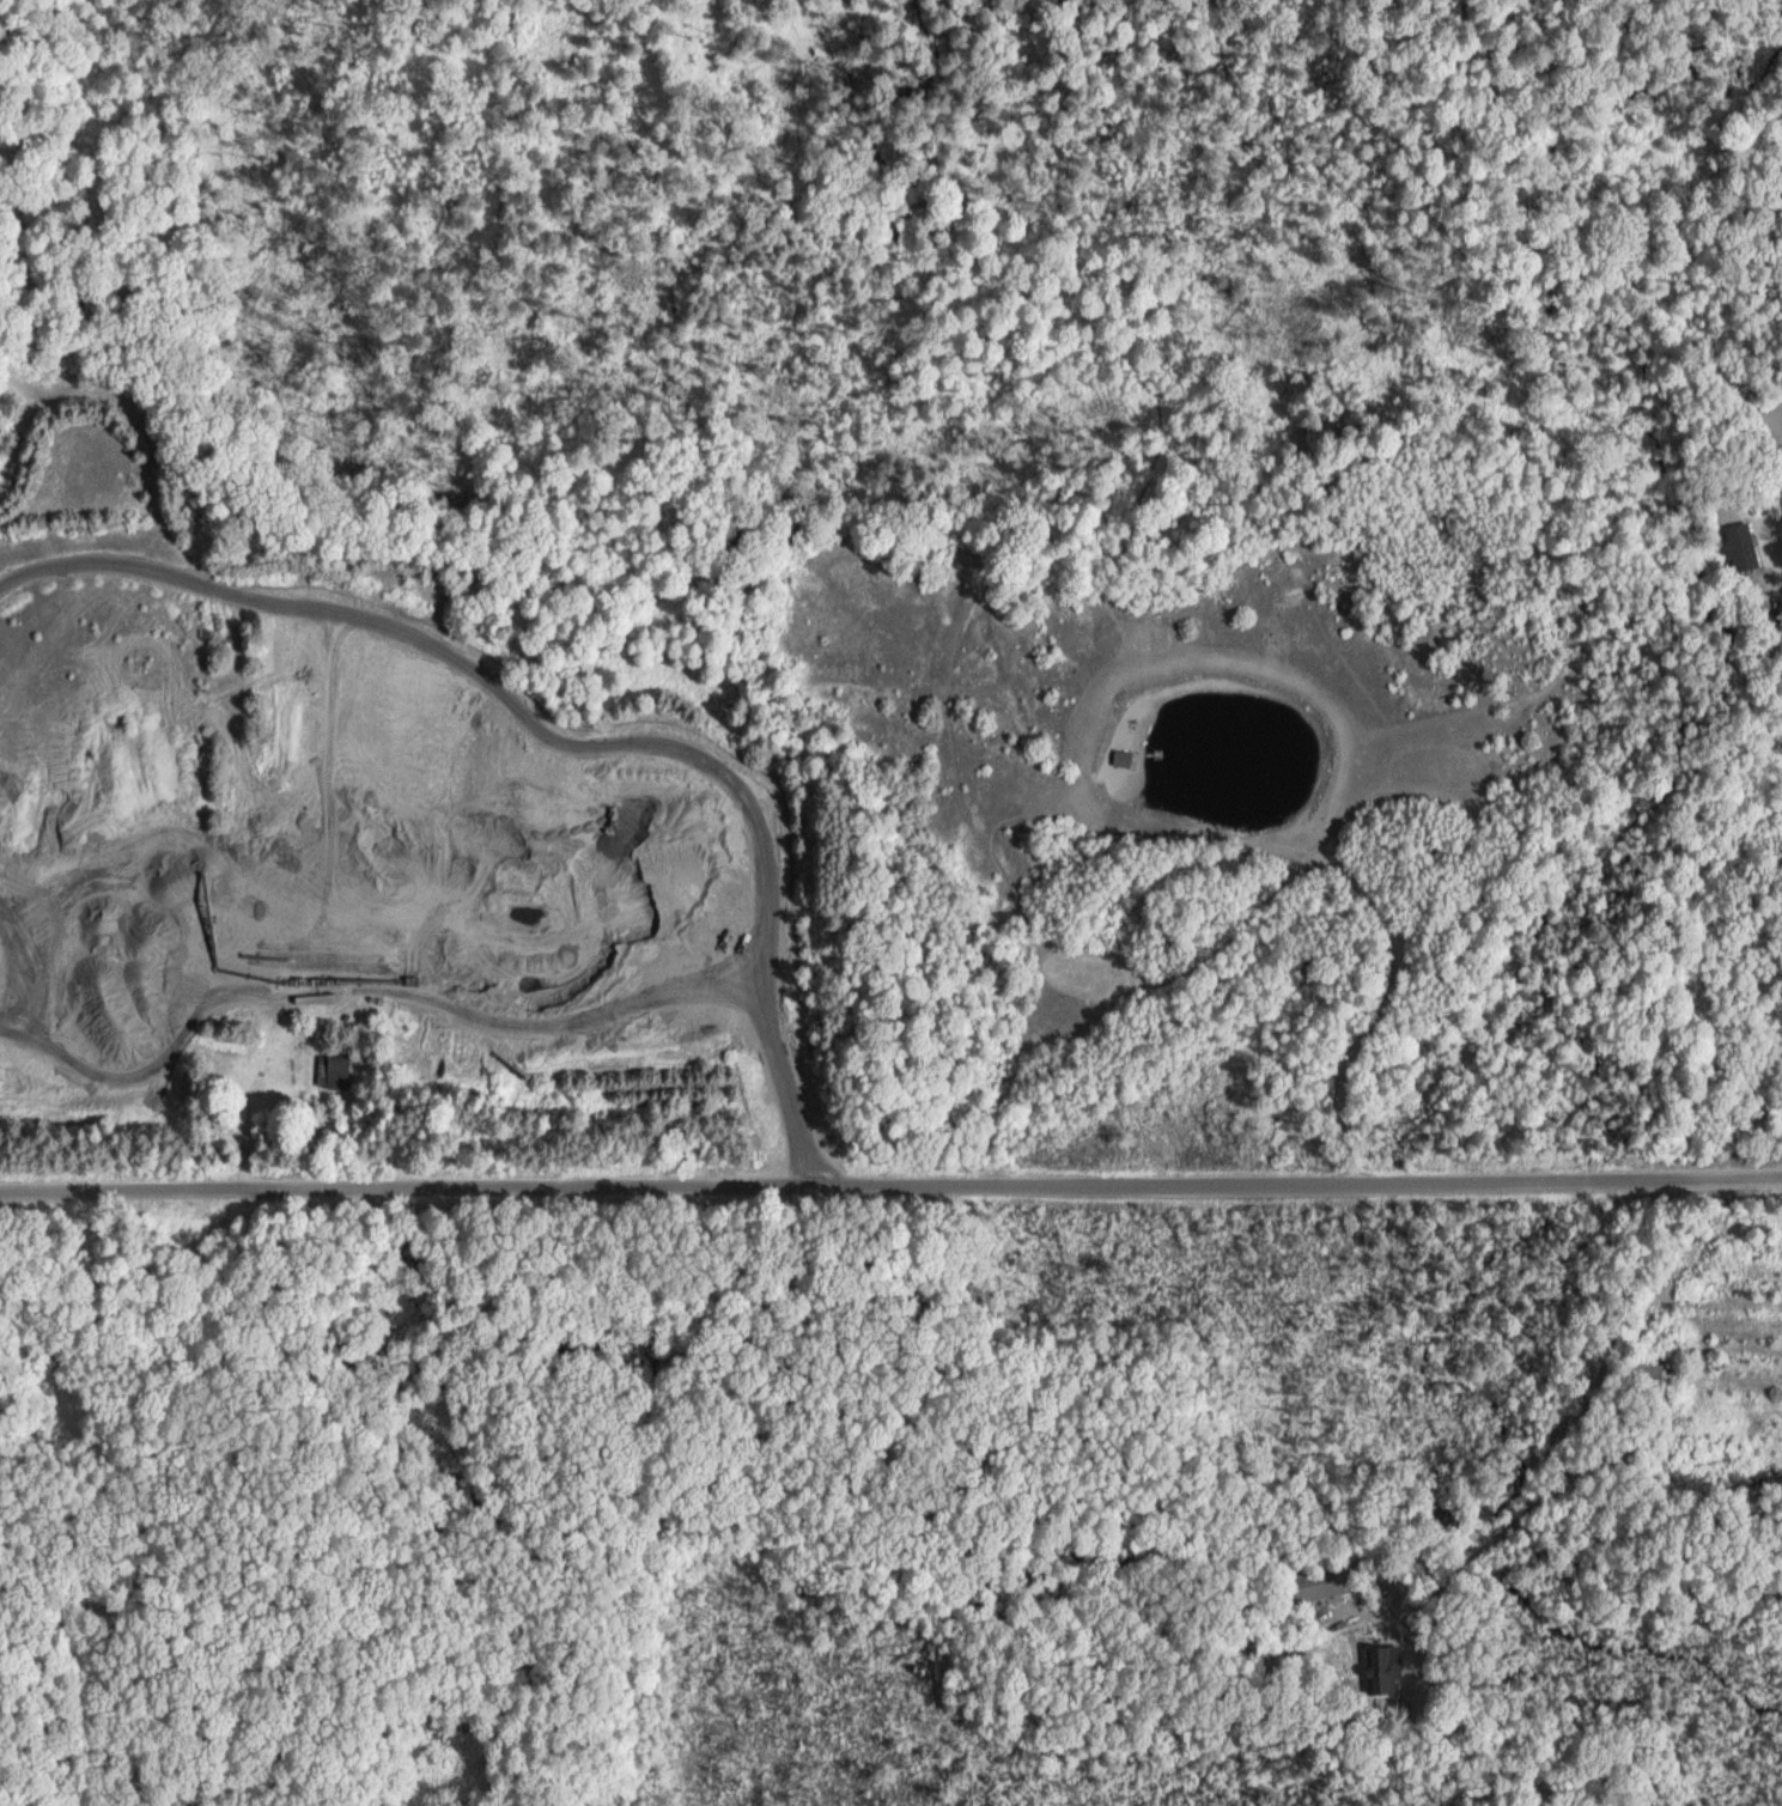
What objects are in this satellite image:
building: (1741, 547)
building: (1121, 758)
building: (335, 1071)
road: (890, 1185)
building: (1647, 1374)
road: (1583, 1423)
building: (1325, 1581)
building: (1380, 1674)

